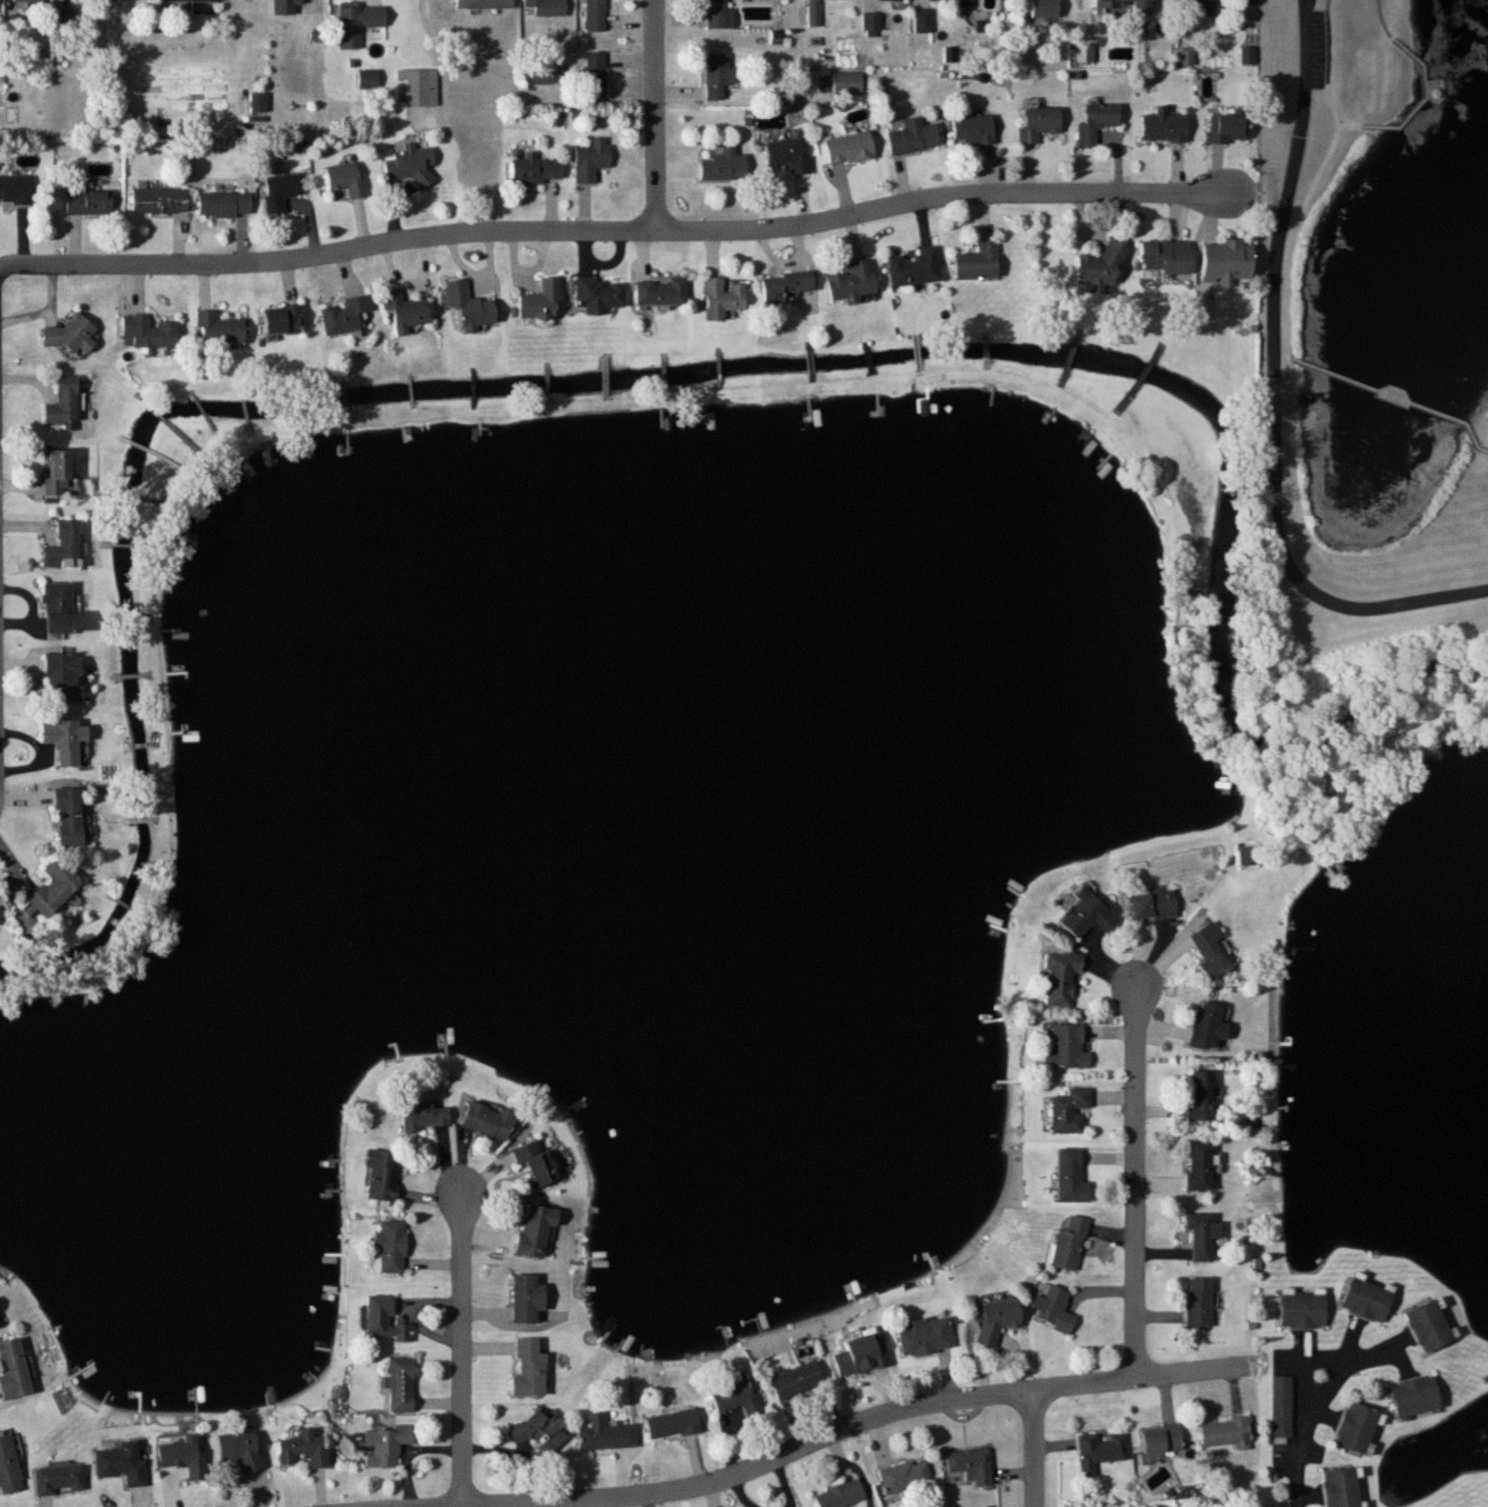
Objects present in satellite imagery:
building: (192, 0)
building: (891, 0)
building: (951, 0)
building: (28, 2)
building: (80, 2)
building: (300, 2)
building: (485, 4)
building: (1129, 5)
building: (545, 8)
building: (1201, 8)
building: (1044, 9)
building: (814, 13)
building: (716, 14)
building: (595, 15)
road: (1386, 19)
building: (923, 21)
building: (874, 24)
building: (357, 25)
parking lot: (1324, 45)
building: (546, 74)
building: (596, 74)
building: (719, 76)
building: (368, 79)
building: (849, 83)
building: (420, 87)
pier: (1435, 87)
road: (1421, 98)
building: (258, 103)
road: (655, 115)
building: (1096, 122)
building: (1039, 124)
road: (1352, 125)
building: (1164, 127)
building: (1226, 129)
building: (973, 130)
building: (913, 137)
building: (849, 149)
building: (788, 155)
building: (591, 160)
building: (411, 165)
building: (725, 167)
building: (535, 170)
road: (1319, 178)
building: (347, 180)
building: (16, 190)
building: (281, 191)
building: (160, 201)
building: (88, 203)
building: (224, 205)
road: (609, 230)
building: (1165, 258)
building: (1226, 263)
building: (977, 264)
building: (915, 269)
building: (1100, 271)
building: (853, 283)
building: (785, 288)
building: (662, 293)
building: (599, 296)
building: (722, 300)
building: (541, 303)
building: (470, 308)
road: (46, 310)
building: (405, 312)
building: (345, 317)
building: (283, 321)
building: (219, 330)
building: (148, 334)
building: (68, 337)
park: (1361, 370)
road: (1276, 390)
road: (1396, 397)
building: (64, 404)
building: (57, 474)
building: (64, 548)
building: (59, 611)
building: (59, 679)
building: (65, 744)
building: (68, 816)
building: (1249, 857)
building: (54, 887)
building: (1152, 906)
building: (1089, 914)
building: (1212, 949)
building: (1061, 978)
building: (1209, 1023)
building: (1066, 1047)
building: (1200, 1095)
building: (1069, 1111)
building: (424, 1116)
building: (487, 1121)
building: (536, 1163)
building: (1200, 1165)
building: (381, 1175)
building: (1071, 1177)
road: (1136, 1182)
building: (535, 1232)
building: (1203, 1236)
building: (1069, 1245)
building: (391, 1246)
building: (527, 1299)
building: (1368, 1300)
building: (1199, 1303)
building: (1053, 1310)
building: (1303, 1310)
building: (997, 1318)
building: (385, 1321)
building: (1431, 1326)
building: (927, 1337)
road: (463, 1353)
building: (861, 1356)
building: (530, 1369)
building: (13, 1370)
building: (796, 1381)
building: (401, 1385)
building: (738, 1396)
building: (1417, 1396)
building: (1283, 1407)
road: (1311, 1407)
road: (856, 1423)
building: (673, 1424)
building: (1359, 1428)
building: (541, 1431)
building: (1227, 1434)
building: (606, 1435)
building: (1164, 1441)
building: (385, 1446)
road: (1033, 1448)
building: (303, 1449)
building: (240, 1451)
building: (1100, 1451)
building: (183, 1455)
building: (122, 1463)
building: (972, 1466)
building: (9, 1467)
building: (905, 1477)
building: (59, 1480)
building: (1343, 1488)
building: (841, 1495)
park: (1262, 1497)

